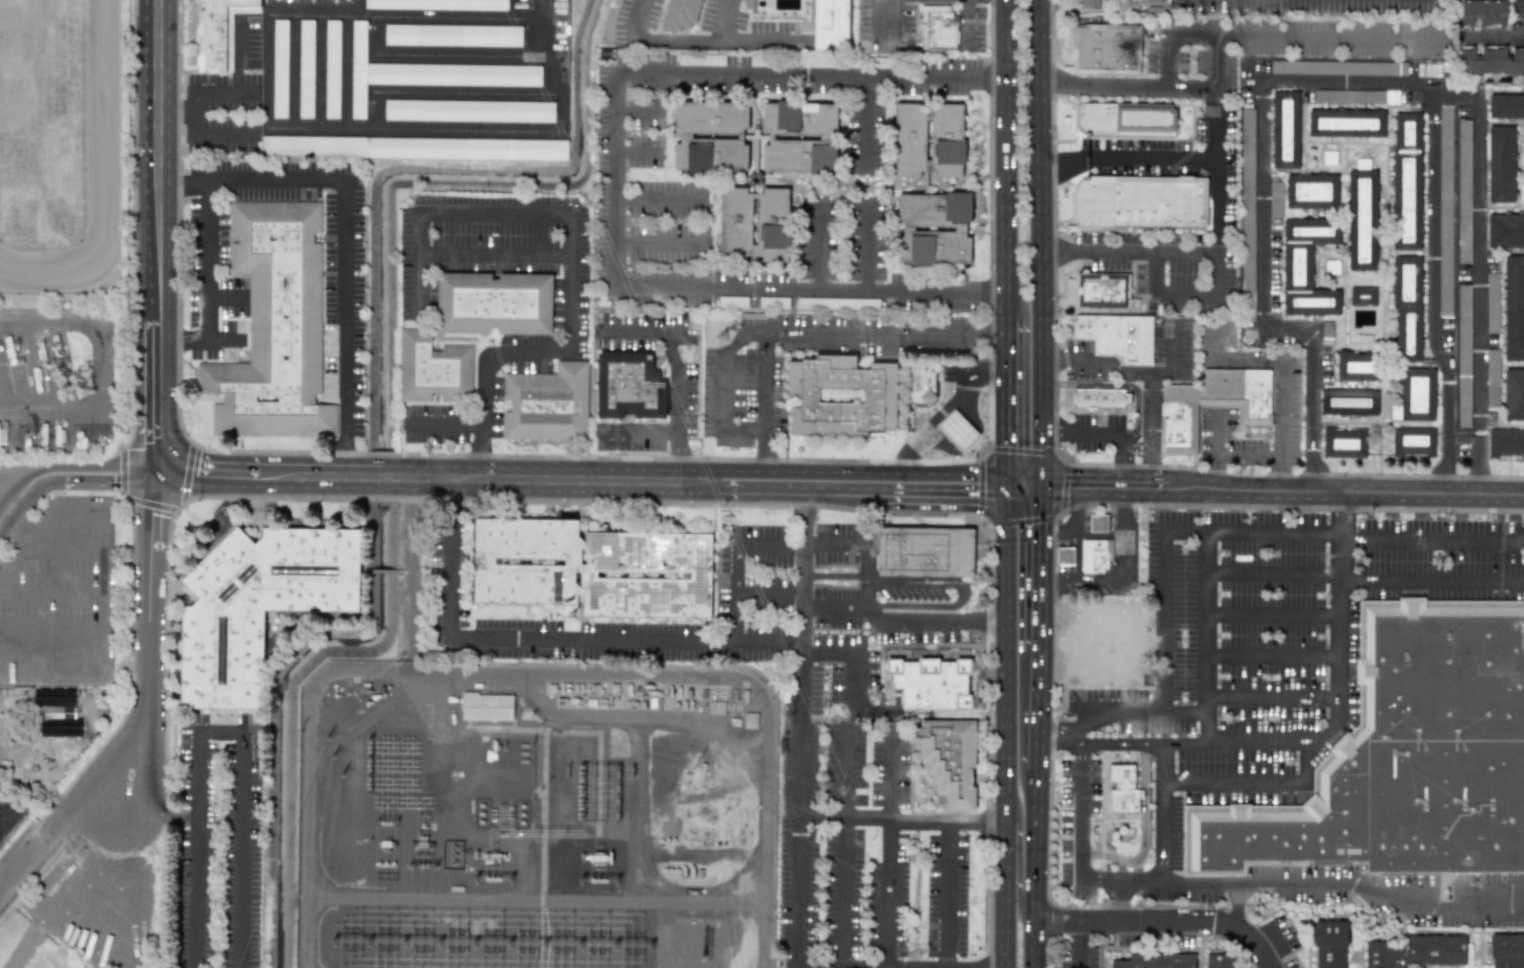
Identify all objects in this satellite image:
building: (1152, 1)
building: (437, 4)
building: (1089, 4)
road: (357, 6)
road: (346, 11)
building: (1483, 12)
building: (685, 14)
road: (885, 15)
road: (723, 20)
road: (964, 21)
building: (832, 22)
building: (937, 28)
building: (219, 32)
building: (452, 35)
road: (1281, 37)
road: (1492, 37)
road: (706, 40)
building: (1108, 49)
road: (439, 52)
building: (1491, 61)
building: (1338, 67)
building: (279, 69)
building: (306, 69)
building: (332, 69)
building: (426, 73)
road: (1348, 81)
road: (1213, 82)
road: (1102, 87)
road: (444, 91)
road: (207, 92)
building: (1346, 96)
building: (1391, 97)
building: (1506, 107)
building: (469, 111)
road: (865, 122)
building: (1346, 123)
building: (1119, 129)
building: (1285, 130)
road: (485, 131)
road: (208, 134)
building: (711, 137)
building: (800, 137)
building: (928, 139)
building: (414, 148)
road: (635, 151)
road: (1164, 156)
road: (1005, 159)
building: (1500, 164)
road: (100, 178)
road: (615, 179)
building: (1407, 181)
building: (1463, 191)
building: (1311, 192)
road: (657, 198)
building: (1275, 199)
building: (1140, 204)
road: (1215, 207)
building: (1445, 211)
building: (1247, 214)
road: (1041, 216)
building: (1362, 220)
building: (754, 224)
road: (572, 229)
building: (933, 229)
building: (1505, 231)
road: (351, 232)
road: (158, 236)
road: (657, 242)
road: (820, 246)
road: (863, 246)
road: (1199, 256)
road: (492, 258)
building: (1307, 267)
road: (205, 282)
building: (1103, 292)
building: (1363, 296)
road: (1432, 297)
building: (732, 302)
building: (838, 303)
building: (1492, 303)
building: (493, 304)
building: (1407, 307)
building: (1514, 307)
building: (274, 327)
road: (817, 329)
building: (1117, 336)
power tower: (715, 338)
building: (1326, 338)
building: (1463, 356)
road: (94, 364)
building: (1358, 366)
building: (434, 369)
road: (1129, 376)
building: (1491, 379)
road: (1279, 382)
building: (920, 383)
road: (1118, 384)
building: (629, 386)
road: (720, 387)
theme park: (59, 392)
building: (1417, 394)
building: (1514, 394)
building: (841, 396)
building: (1101, 397)
road: (953, 399)
road: (1008, 401)
building: (1349, 402)
building: (545, 404)
building: (1211, 405)
road: (675, 417)
road: (446, 422)
building: (956, 430)
road: (1151, 432)
building: (2, 436)
building: (1413, 441)
road: (1105, 443)
building: (1344, 443)
building: (1505, 443)
road: (479, 451)
road: (1218, 452)
road: (767, 455)
road: (674, 457)
road: (1249, 458)
road: (1044, 459)
road: (904, 465)
road: (71, 472)
traffic signals: (157, 472)
road: (19, 475)
road: (583, 480)
traffic signals: (1010, 484)
road: (1027, 484)
traffic signals: (1044, 485)
road: (1059, 485)
road: (1299, 491)
road: (804, 514)
road: (1342, 514)
building: (1098, 522)
road: (5, 526)
road: (1123, 531)
road: (1077, 532)
road: (21, 534)
road: (1345, 536)
road: (868, 546)
road: (64, 549)
building: (924, 552)
building: (1095, 554)
road: (1205, 555)
building: (1065, 556)
road: (17, 557)
road: (1042, 567)
building: (592, 569)
road: (733, 571)
road: (407, 572)
road: (835, 575)
road: (1082, 578)
road: (1363, 580)
road: (51, 588)
road: (959, 593)
parking lot: (60, 596)
road: (101, 599)
building: (257, 606)
road: (1272, 613)
road: (904, 616)
road: (1165, 625)
road: (1339, 626)
road: (50, 638)
road: (511, 638)
road: (744, 640)
road: (1008, 653)
road: (851, 655)
road: (1271, 655)
road: (1203, 658)
building: (930, 683)
power tower: (877, 696)
road: (1270, 697)
building: (487, 707)
road: (1040, 709)
building: (56, 712)
road: (1141, 713)
road: (147, 718)
road: (1061, 729)
road: (1241, 740)
road: (1102, 742)
power tower: (371, 751)
building: (1405, 753)
road: (798, 756)
building: (949, 760)
road: (1165, 763)
power tower: (371, 768)
power tower: (567, 774)
power tower: (631, 775)
power tower: (575, 776)
power tower: (617, 777)
road: (238, 785)
road: (1224, 785)
power tower: (370, 786)
power tower: (575, 790)
power tower: (616, 790)
building: (1122, 790)
power tower: (575, 803)
power tower: (617, 803)
road: (157, 809)
road: (820, 815)
power tower: (575, 816)
power substation: (533, 817)
power tower: (616, 817)
road: (866, 819)
road: (948, 821)
road: (1143, 836)
road: (843, 848)
road: (888, 852)
road: (42, 862)
road: (1008, 862)
road: (1037, 867)
road: (1229, 883)
road: (60, 892)
road: (193, 893)
road: (946, 894)
road: (1119, 902)
road: (1235, 904)
road: (131, 908)
road: (1204, 921)
road: (1077, 922)
road: (1007, 934)
building: (1328, 943)
road: (1078, 945)
building: (1419, 950)
building: (1506, 950)
building: (1221, 958)
building: (1156, 961)

